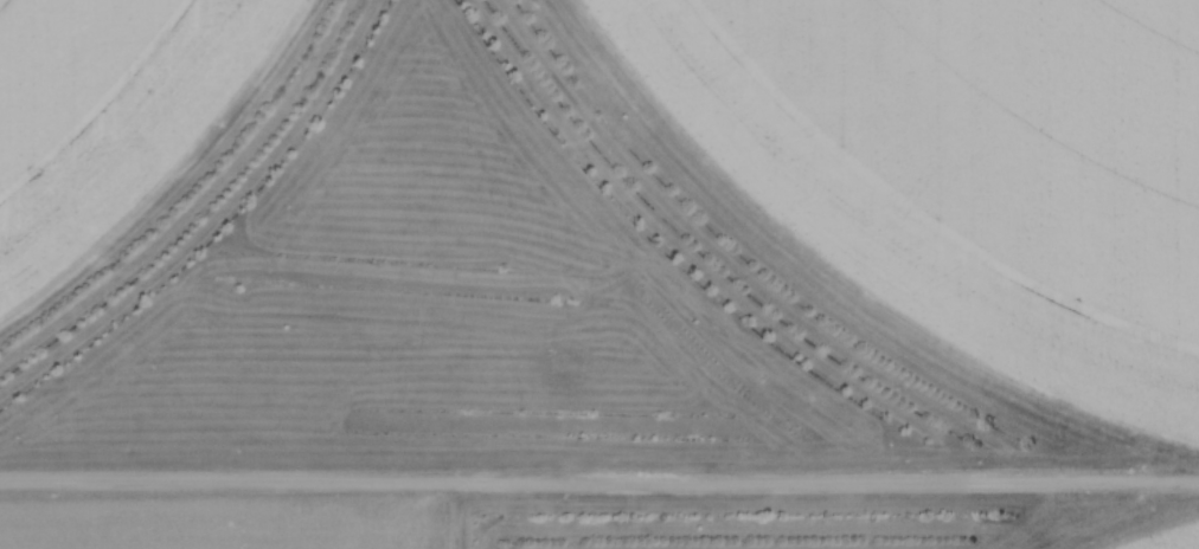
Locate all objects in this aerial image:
road: (599, 479)

